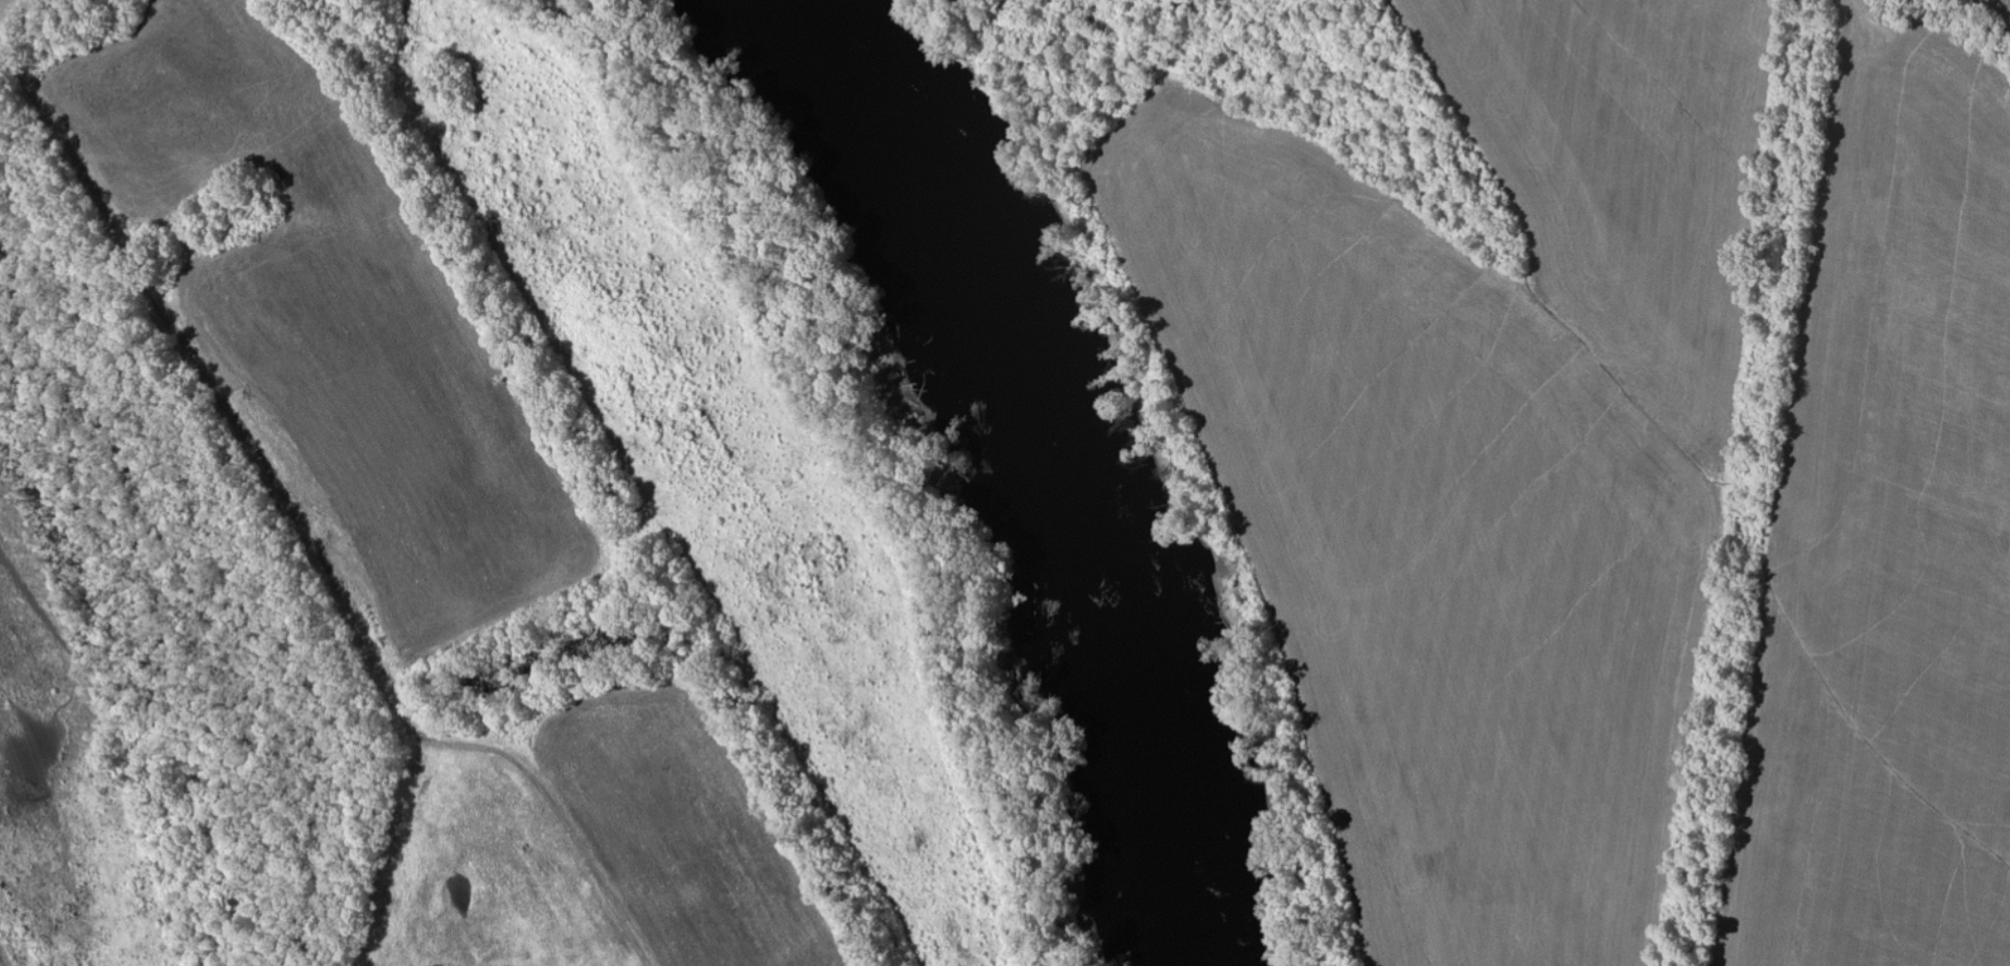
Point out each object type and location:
river: (1047, 452)

